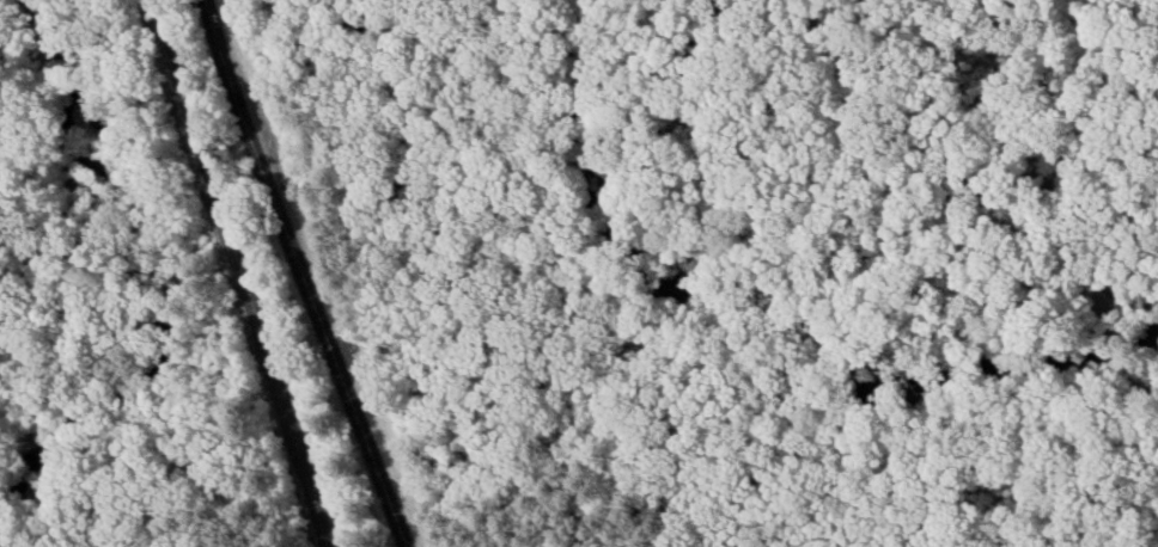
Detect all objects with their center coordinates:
railway: (240, 272)
road: (309, 273)

